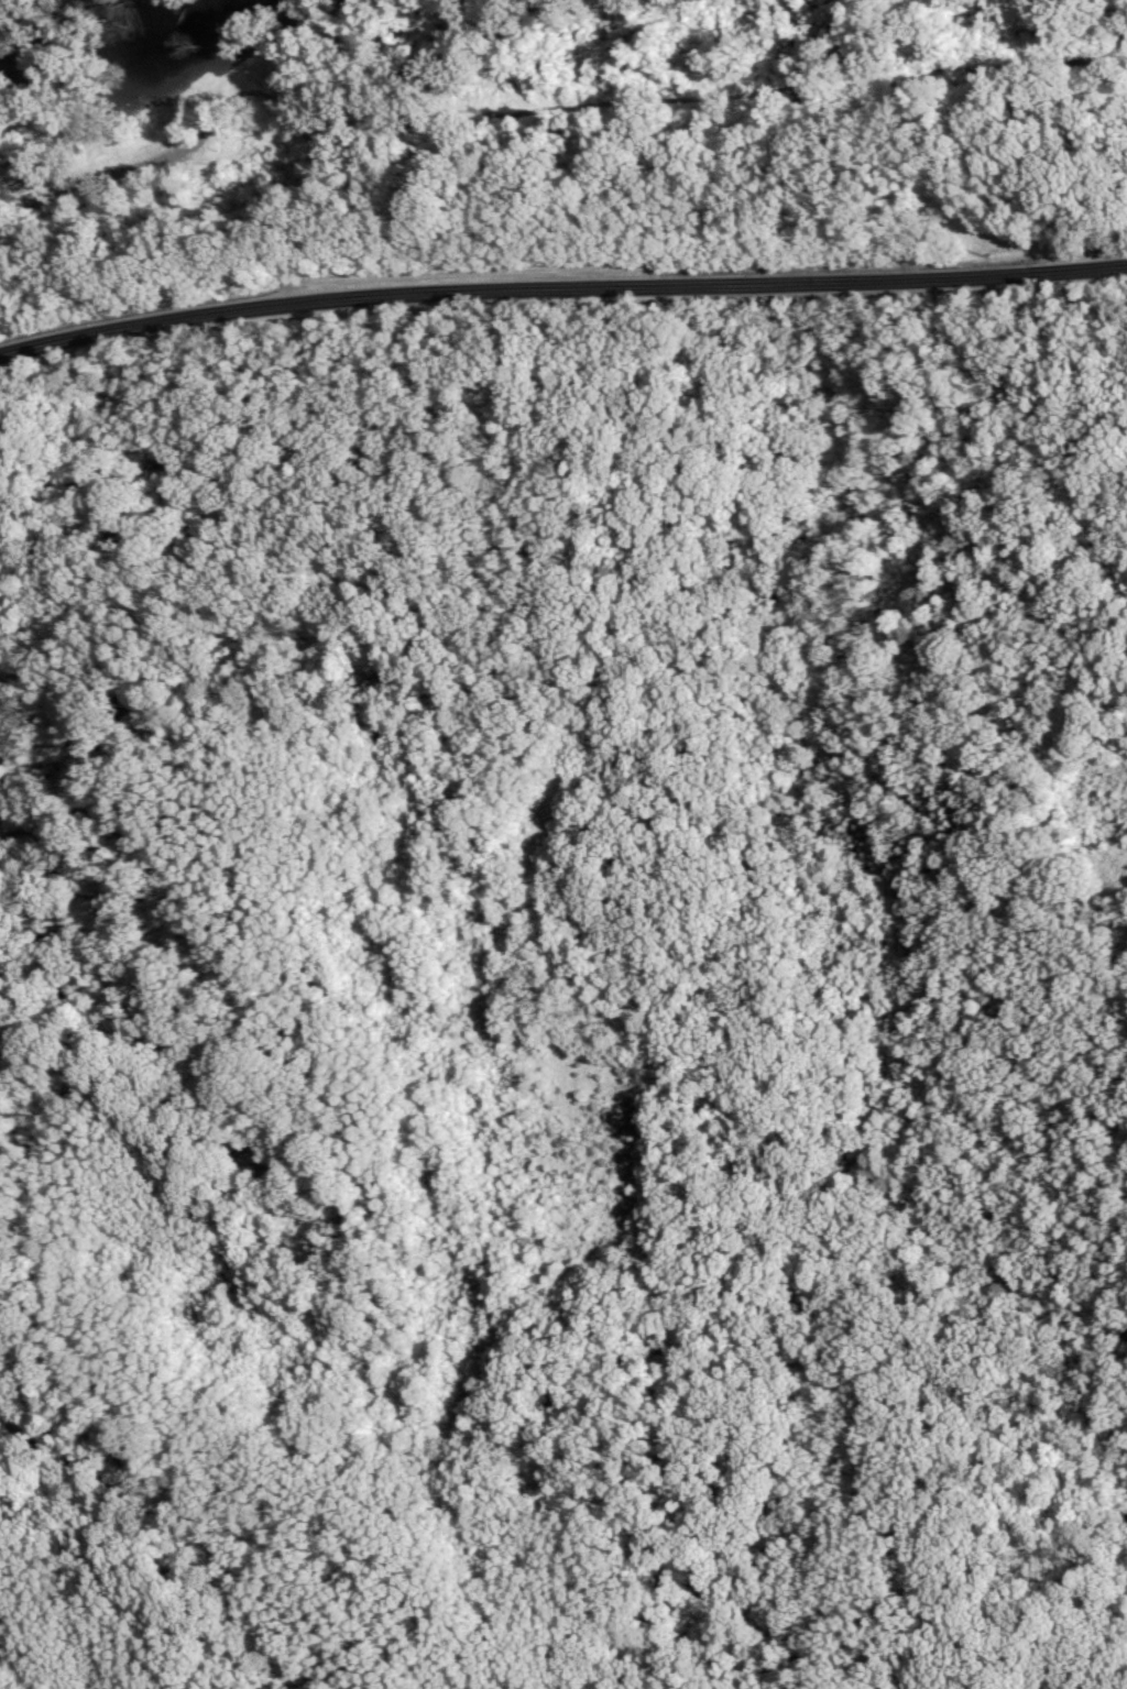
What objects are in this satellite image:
road: (635, 63)
road: (83, 180)
road: (561, 290)

